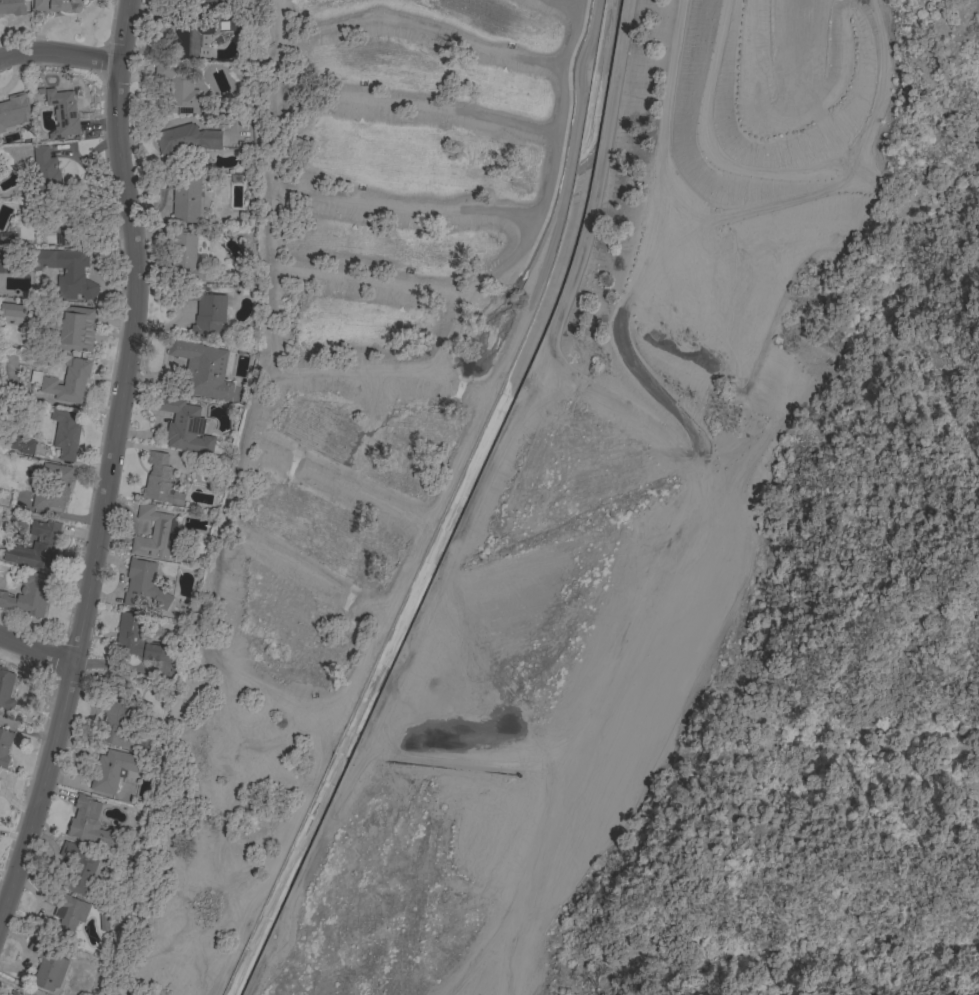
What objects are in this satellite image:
building: (209, 0)
building: (56, 5)
building: (11, 7)
building: (192, 33)
road: (59, 51)
building: (178, 87)
building: (14, 110)
building: (62, 113)
building: (185, 140)
road: (87, 165)
building: (44, 169)
building: (186, 198)
building: (63, 229)
building: (6, 237)
building: (186, 256)
building: (73, 275)
building: (205, 311)
building: (75, 329)
building: (203, 371)
building: (33, 379)
building: (68, 382)
building: (183, 424)
building: (66, 433)
building: (20, 442)
road: (110, 462)
building: (160, 480)
building: (54, 486)
road: (677, 500)
road: (437, 507)
road: (470, 507)
building: (154, 532)
building: (36, 546)
building: (143, 584)
building: (29, 594)
building: (139, 639)
road: (36, 647)
building: (6, 688)
building: (121, 728)
building: (4, 746)
building: (116, 769)
building: (90, 823)
building: (79, 865)
building: (66, 911)
building: (104, 921)
road: (476, 955)
building: (47, 965)
building: (15, 993)

